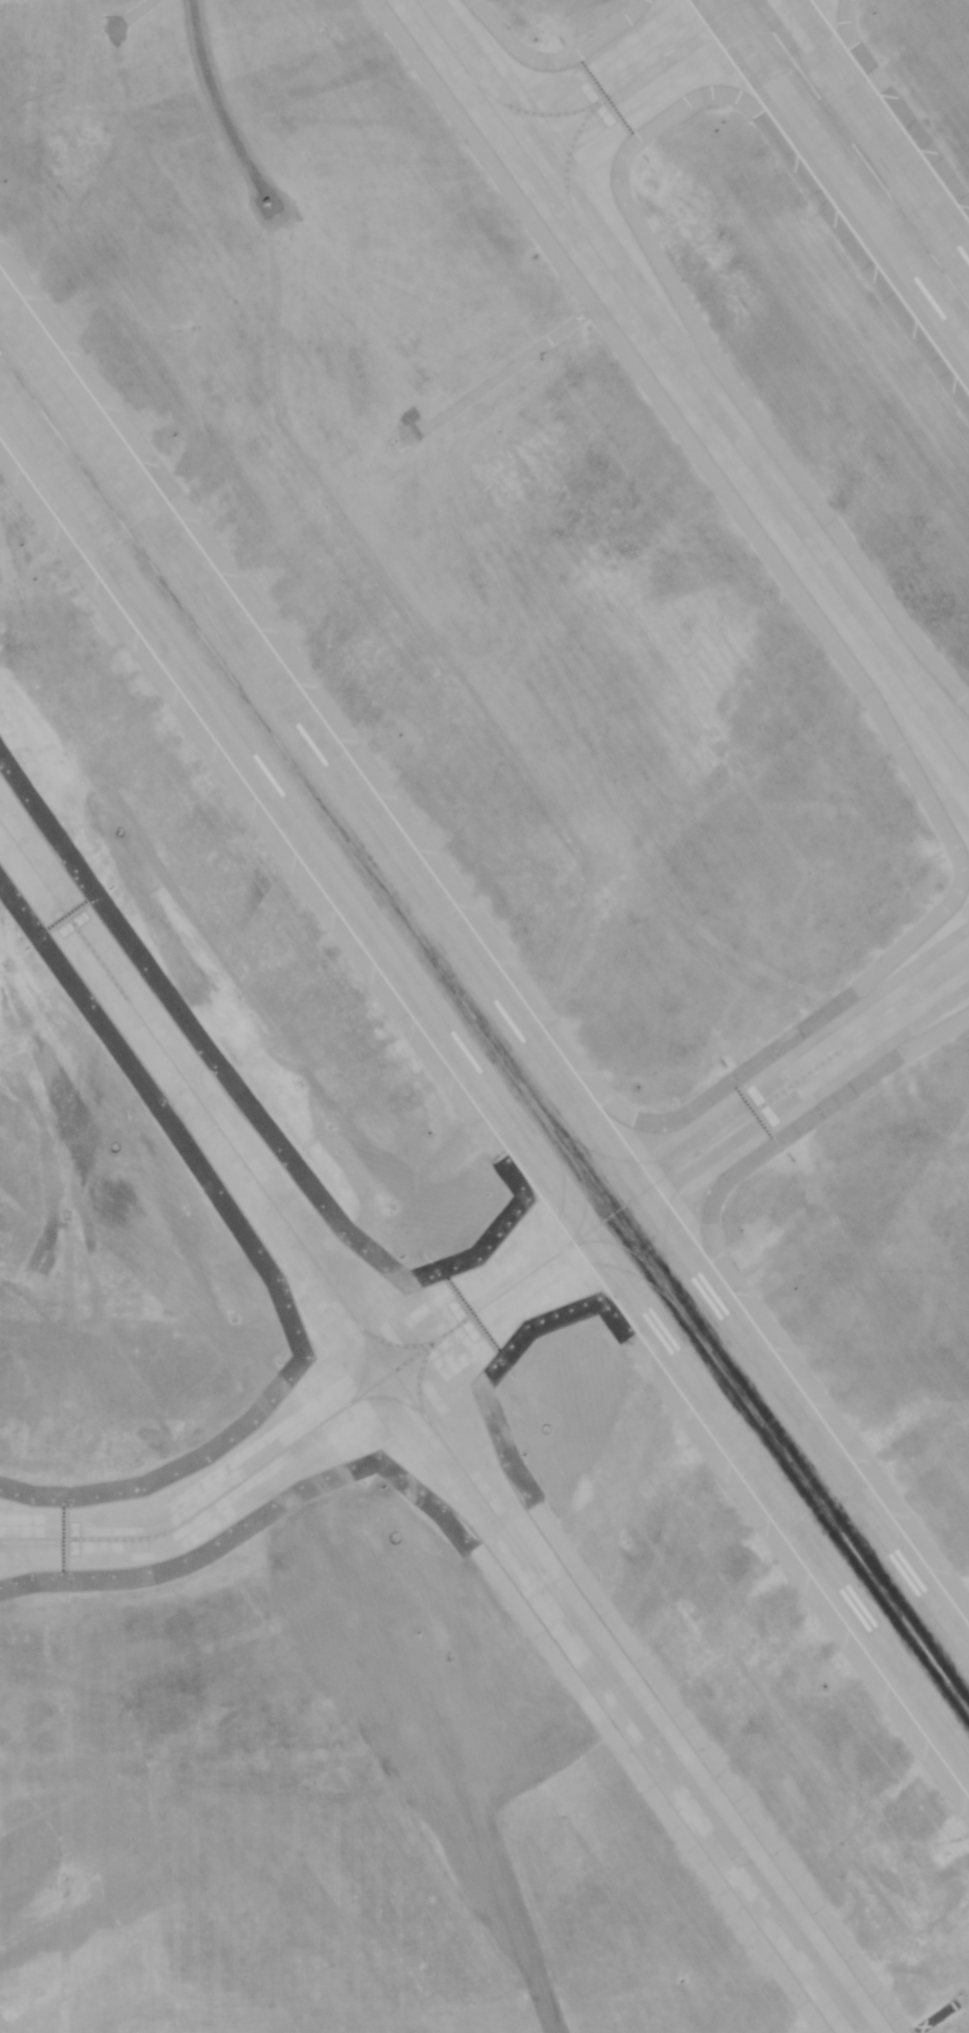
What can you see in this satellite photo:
airport taxiway: (689, 25)
airport taxiway: (794, 39)
airport taxiway: (745, 43)
airport taxiway: (614, 91)
airport taxiway: (532, 112)
airport runway: (859, 153)
airport taxiway: (691, 386)
airport: (484, 1016)
airport runway: (484, 1032)
airport taxiway: (614, 1158)
airport taxiway: (561, 1199)
airport taxiway: (665, 1222)
airport taxiway: (601, 1264)
airport taxiway: (499, 1293)
airport taxiway: (399, 1346)
airport taxiway: (366, 1363)
airport taxiway: (419, 1373)
airport taxiway: (392, 1399)
airport taxiway: (433, 1427)

